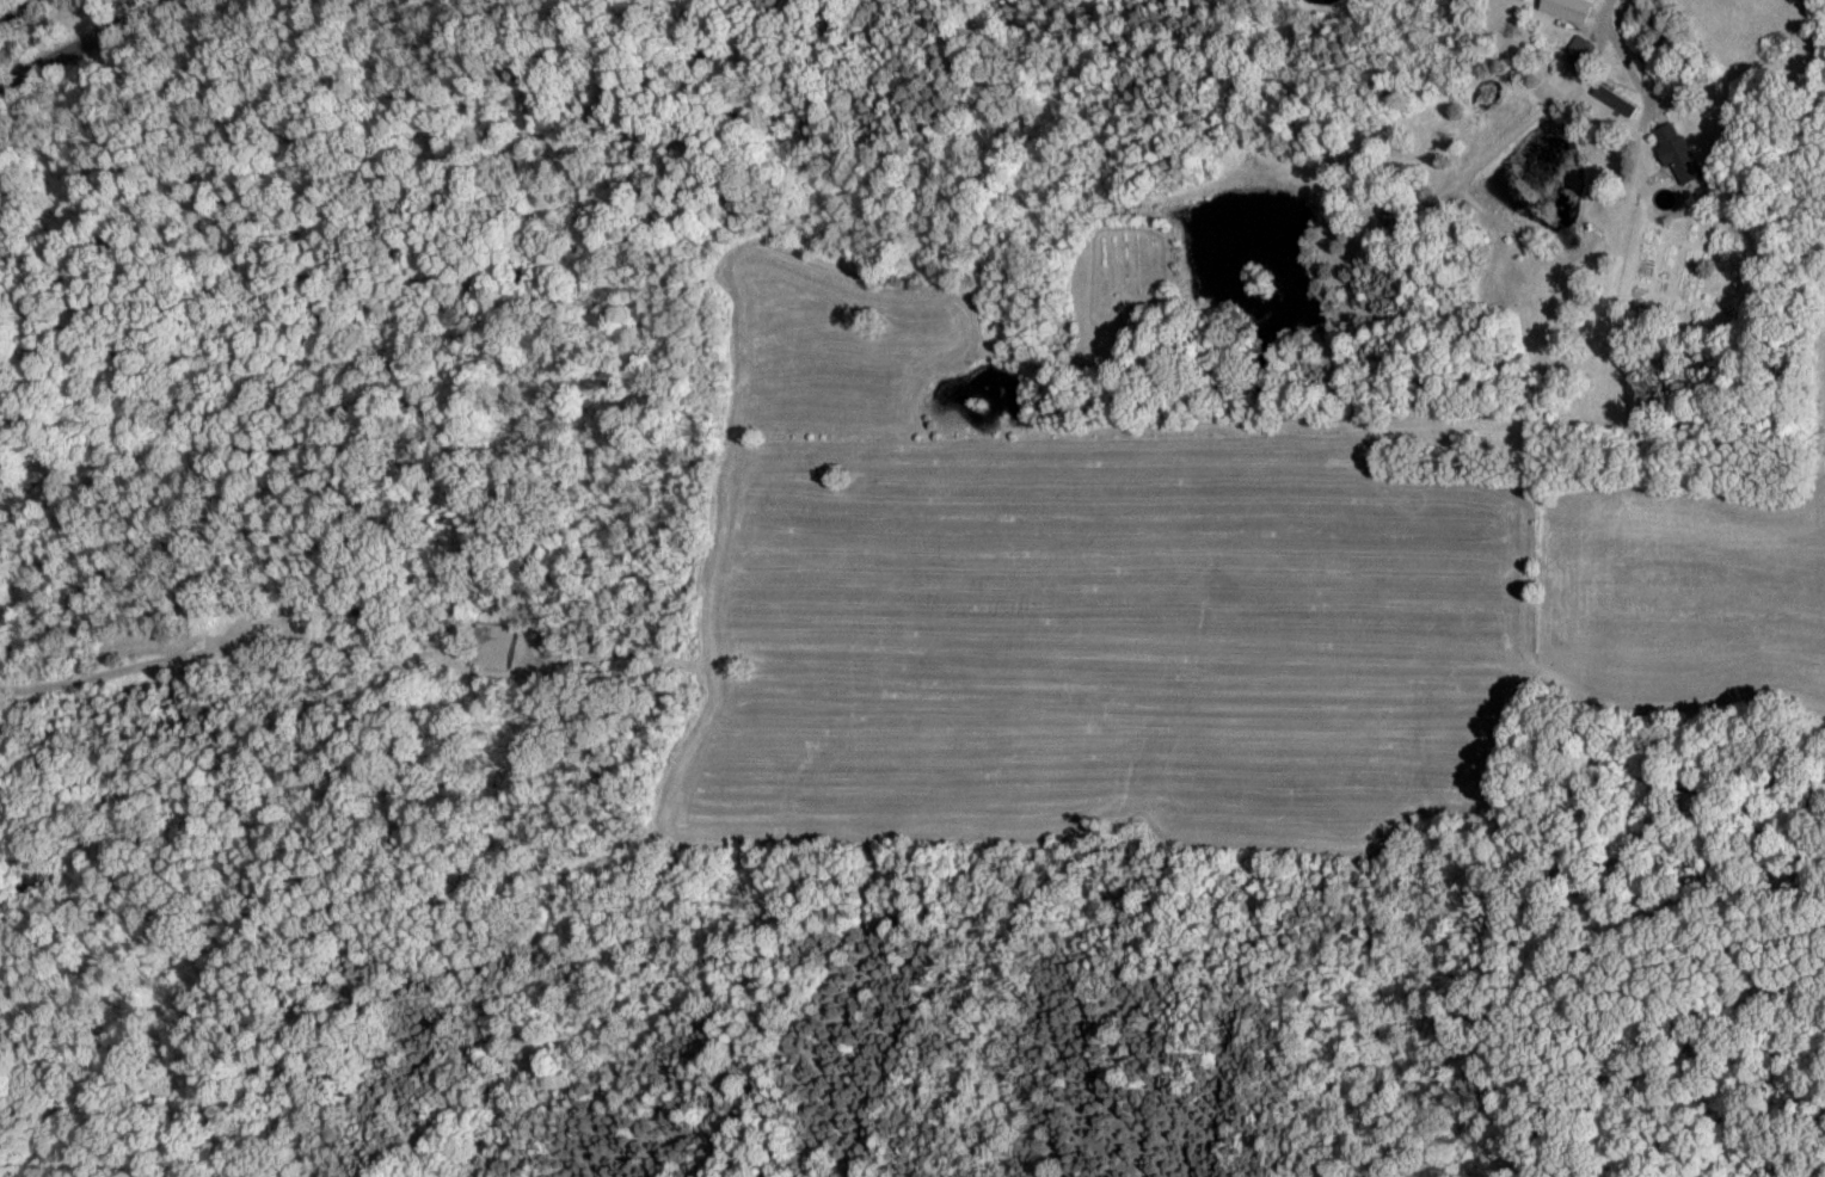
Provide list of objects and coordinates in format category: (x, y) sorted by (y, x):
road: (1611, 7)
building: (1563, 10)
building: (1577, 50)
road: (92, 54)
building: (1673, 153)
building: (490, 647)

